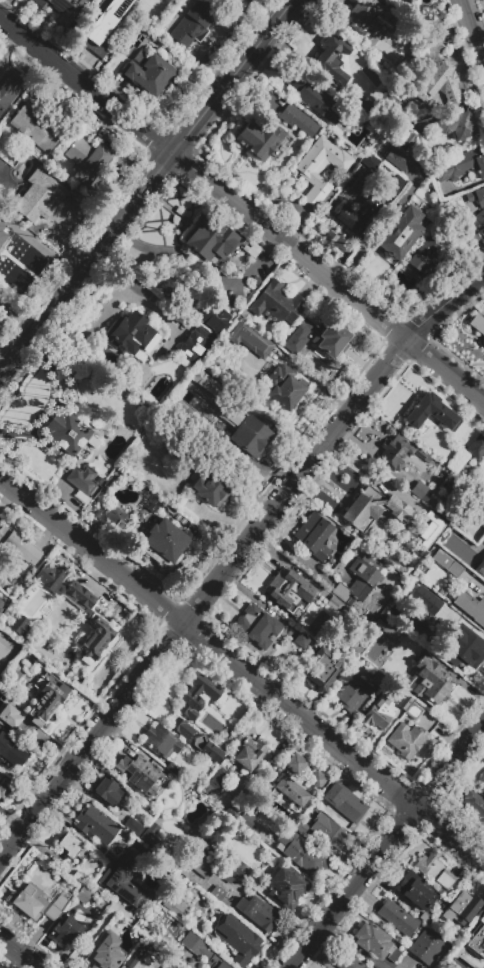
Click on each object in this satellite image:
building: (411, 0)
building: (404, 1)
building: (407, 1)
building: (61, 8)
building: (365, 13)
building: (194, 22)
building: (104, 26)
road: (468, 37)
building: (432, 56)
building: (331, 59)
building: (149, 73)
building: (440, 85)
building: (9, 88)
building: (315, 98)
building: (378, 120)
building: (298, 122)
building: (457, 125)
building: (34, 128)
building: (255, 137)
building: (411, 139)
building: (87, 159)
building: (400, 159)
building: (369, 161)
building: (460, 165)
building: (320, 169)
building: (394, 182)
road: (147, 187)
building: (38, 196)
road: (241, 210)
building: (356, 214)
building: (481, 215)
road: (378, 229)
building: (2, 231)
building: (400, 233)
building: (211, 240)
building: (425, 258)
building: (255, 280)
building: (277, 303)
building: (217, 315)
building: (315, 318)
building: (477, 323)
building: (133, 337)
building: (248, 339)
building: (331, 339)
building: (194, 344)
building: (201, 377)
building: (288, 389)
building: (222, 398)
building: (432, 412)
building: (65, 433)
building: (250, 436)
building: (92, 442)
building: (476, 447)
building: (177, 452)
building: (395, 452)
building: (422, 455)
building: (142, 462)
building: (84, 479)
building: (211, 486)
building: (419, 491)
building: (372, 509)
building: (116, 518)
building: (480, 522)
building: (313, 535)
building: (165, 540)
building: (18, 547)
road: (283, 548)
building: (152, 555)
building: (482, 559)
road: (235, 560)
building: (446, 563)
building: (475, 567)
building: (359, 579)
building: (296, 596)
building: (424, 600)
building: (1, 605)
building: (470, 606)
building: (89, 614)
building: (0, 616)
building: (257, 625)
building: (20, 626)
building: (386, 633)
building: (301, 639)
building: (463, 649)
building: (355, 650)
park: (3, 654)
building: (322, 668)
road: (243, 671)
building: (378, 680)
building: (430, 684)
building: (351, 693)
building: (196, 695)
building: (45, 698)
building: (405, 703)
building: (414, 711)
building: (377, 713)
building: (10, 716)
building: (181, 728)
building: (406, 739)
building: (161, 741)
building: (207, 749)
building: (11, 752)
building: (248, 753)
building: (295, 762)
building: (174, 771)
building: (138, 773)
building: (317, 779)
building: (482, 779)
building: (215, 783)
building: (482, 789)
building: (2, 791)
building: (105, 791)
building: (291, 791)
building: (344, 802)
building: (474, 805)
building: (232, 813)
building: (168, 814)
building: (288, 818)
road: (11, 819)
building: (246, 821)
building: (200, 823)
building: (96, 824)
building: (132, 825)
building: (300, 827)
building: (328, 832)
building: (236, 835)
building: (151, 837)
road: (386, 845)
building: (72, 846)
building: (301, 853)
building: (109, 856)
building: (199, 866)
building: (239, 868)
building: (433, 870)
building: (231, 878)
building: (125, 880)
building: (287, 886)
building: (82, 888)
building: (414, 891)
building: (219, 896)
building: (26, 903)
building: (55, 907)
building: (461, 908)
building: (258, 912)
building: (397, 918)
building: (424, 918)
building: (67, 930)
road: (87, 935)
building: (236, 938)
building: (477, 939)
building: (375, 942)
road: (354, 946)
building: (426, 947)
building: (201, 950)
road: (19, 952)
building: (107, 953)
building: (131, 960)
building: (348, 961)
building: (167, 965)

